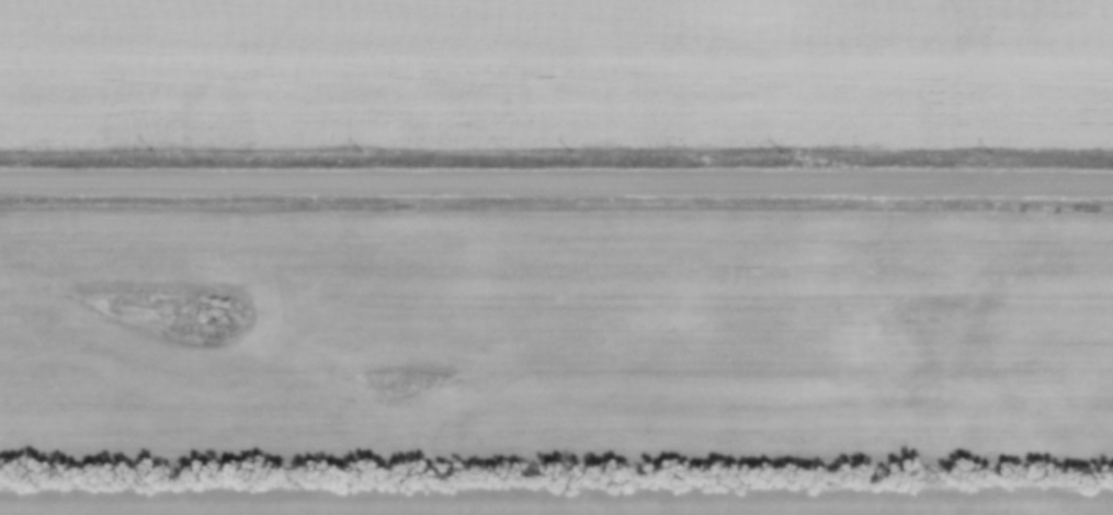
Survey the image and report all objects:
road: (556, 191)

